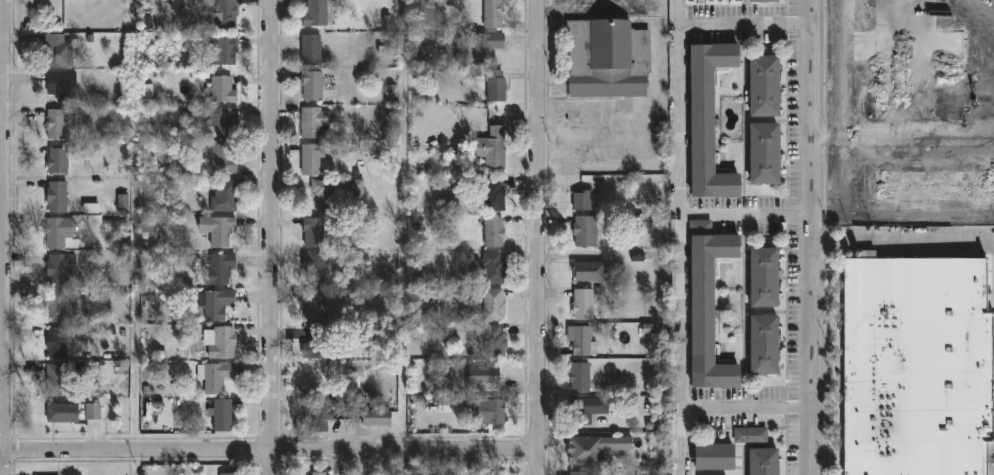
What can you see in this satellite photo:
building: (763, 0)
building: (176, 5)
road: (593, 10)
building: (317, 13)
building: (495, 13)
building: (225, 15)
road: (746, 21)
building: (487, 47)
building: (313, 49)
building: (225, 50)
building: (60, 51)
building: (909, 56)
building: (605, 58)
road: (842, 69)
building: (763, 83)
building: (313, 85)
building: (64, 86)
building: (497, 86)
building: (224, 89)
building: (707, 118)
building: (315, 121)
building: (226, 122)
building: (58, 124)
road: (905, 138)
building: (497, 148)
building: (763, 152)
building: (313, 158)
building: (223, 159)
building: (59, 161)
building: (930, 184)
building: (492, 193)
building: (326, 194)
building: (227, 196)
building: (58, 197)
building: (123, 201)
building: (584, 201)
road: (747, 211)
building: (220, 230)
building: (318, 231)
building: (587, 231)
building: (59, 232)
building: (496, 232)
road: (272, 237)
road: (535, 237)
road: (678, 237)
road: (814, 237)
road: (922, 244)
building: (219, 268)
building: (317, 268)
building: (496, 268)
building: (62, 269)
building: (591, 271)
building: (763, 275)
building: (217, 303)
building: (494, 304)
building: (707, 304)
building: (586, 305)
building: (56, 306)
building: (315, 306)
road: (3, 325)
building: (496, 341)
building: (584, 341)
building: (58, 342)
building: (222, 342)
building: (321, 344)
building: (762, 344)
building: (916, 365)
building: (217, 376)
building: (582, 377)
building: (487, 378)
building: (60, 380)
road: (747, 408)
building: (323, 410)
building: (588, 410)
building: (494, 412)
building: (64, 413)
building: (223, 415)
building: (94, 416)
building: (380, 418)
building: (747, 436)
building: (596, 449)
road: (266, 450)
building: (709, 458)
building: (758, 462)
building: (583, 473)
building: (227, 474)
building: (321, 474)
building: (342, 474)

